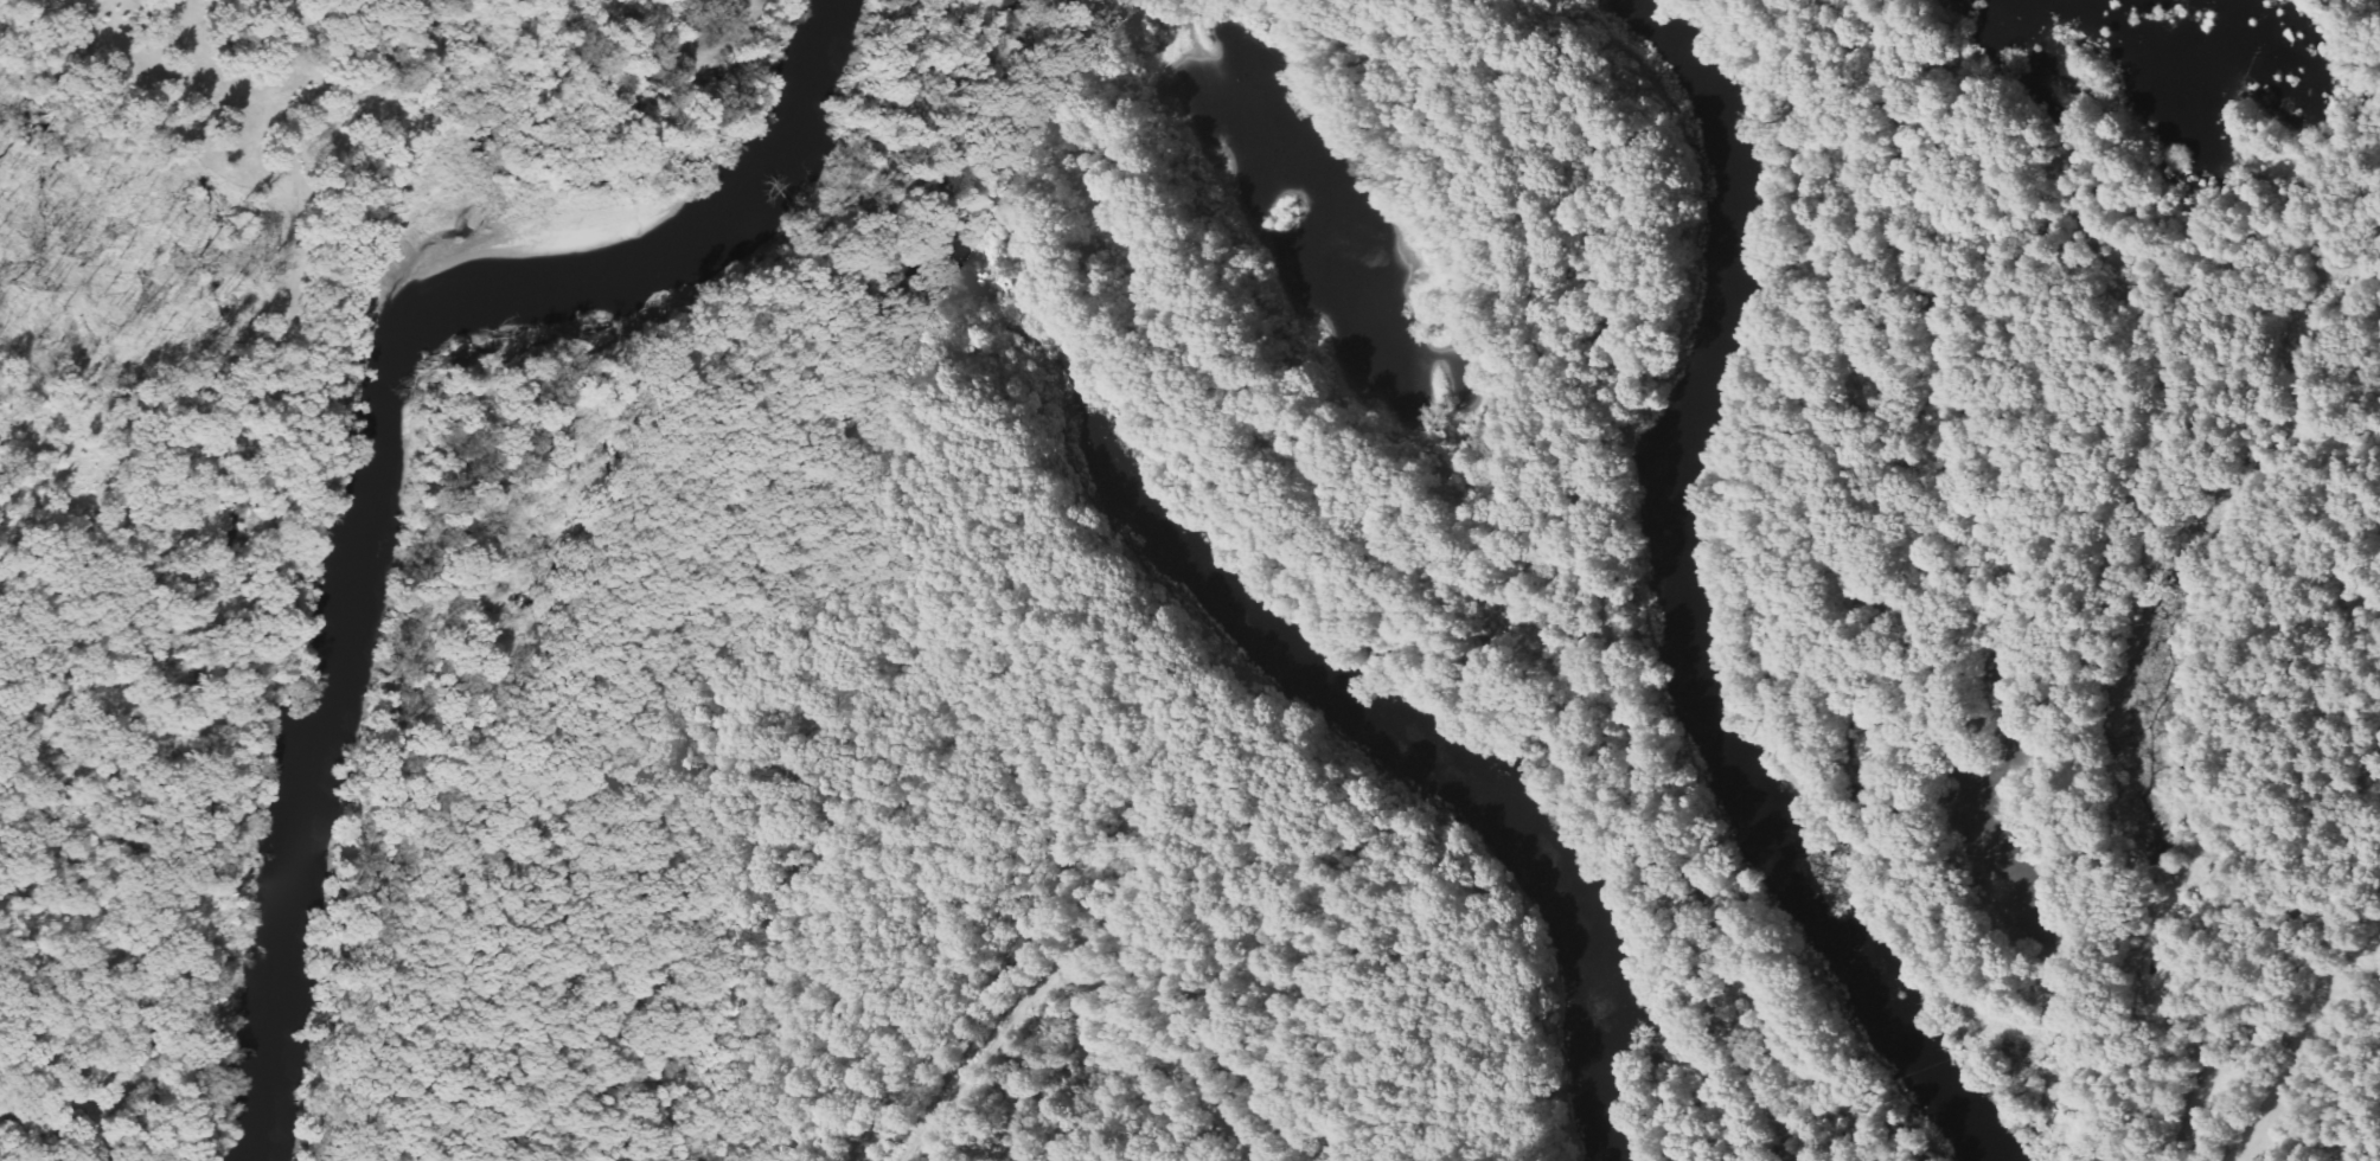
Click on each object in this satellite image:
road: (315, 44)
road: (697, 44)
road: (1802, 199)
road: (2155, 366)
river: (398, 425)
road: (1584, 551)
road: (2344, 878)
road: (2188, 1021)
road: (986, 1054)
road: (1169, 1061)

